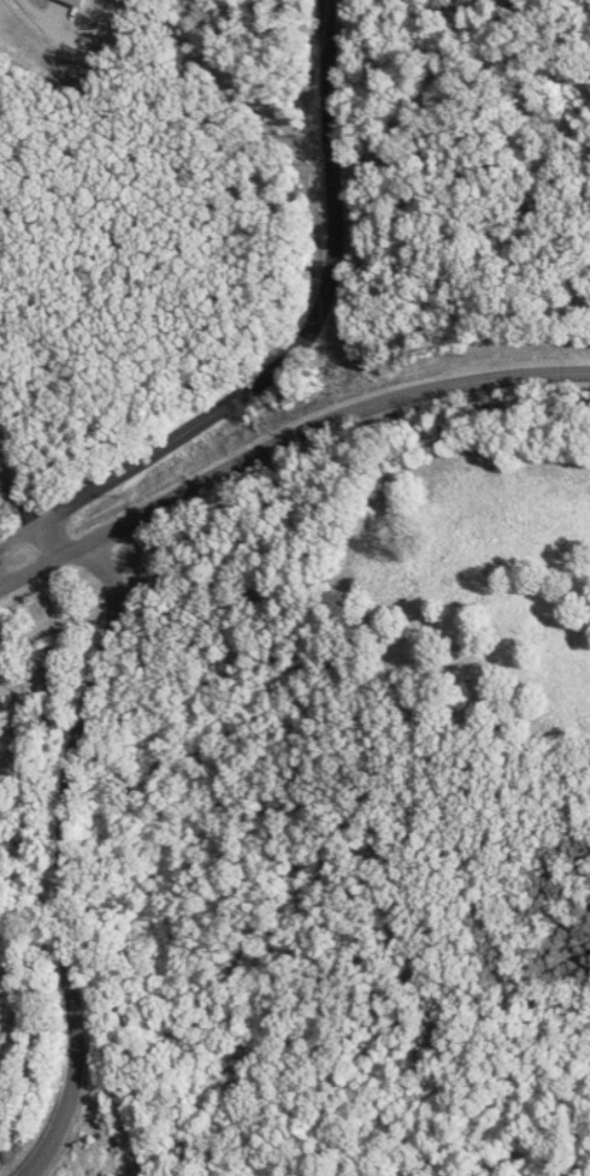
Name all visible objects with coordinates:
building: (83, 2)
road: (336, 142)
road: (202, 413)
road: (281, 436)
road: (12, 485)
road: (20, 528)
road: (54, 532)
road: (65, 859)

